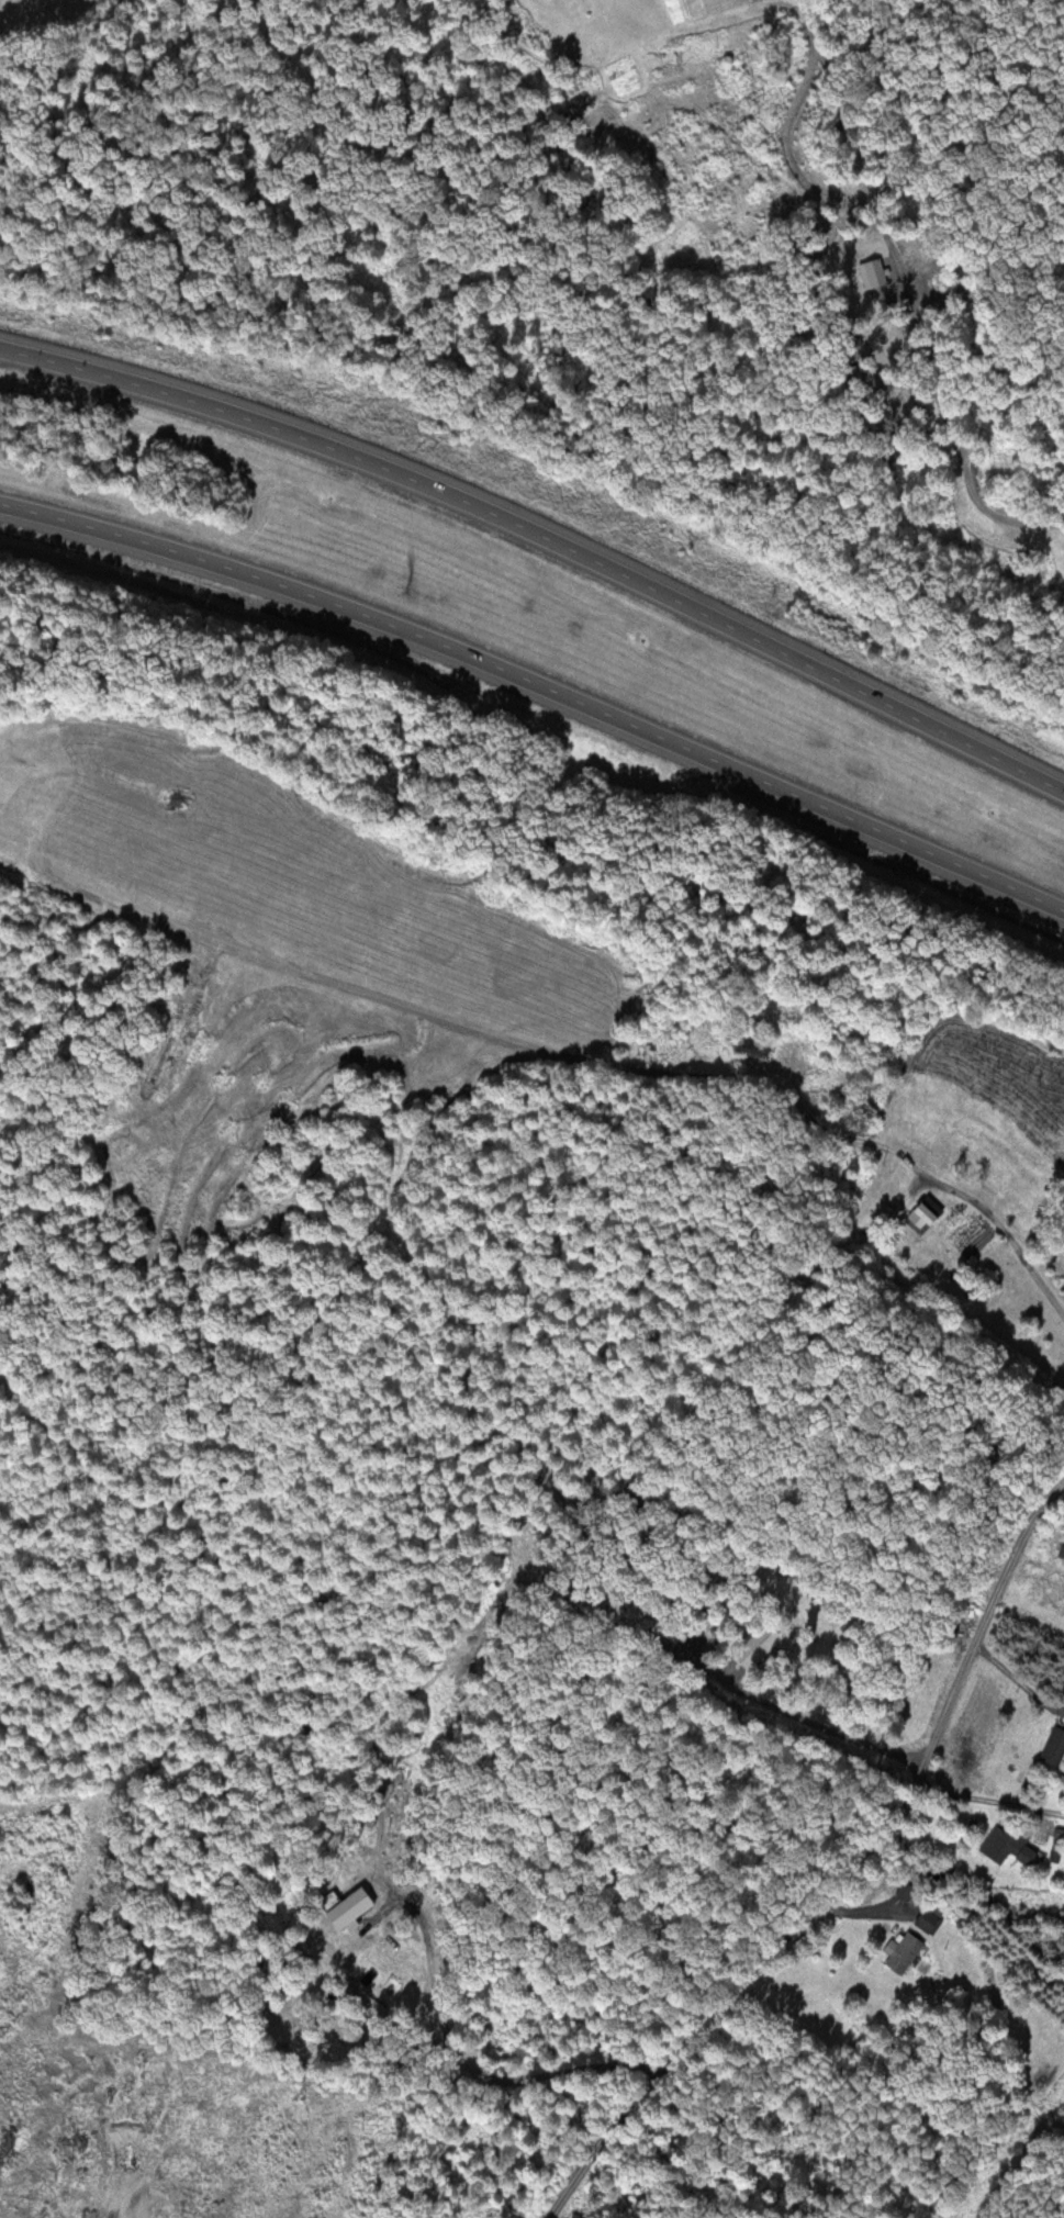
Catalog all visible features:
road: (545, 540)
road: (539, 688)
building: (311, 1046)
building: (920, 1212)
building: (1061, 1556)
building: (1051, 1746)
building: (1054, 1841)
building: (1004, 1846)
road: (841, 1874)
building: (921, 1919)
building: (900, 1952)

